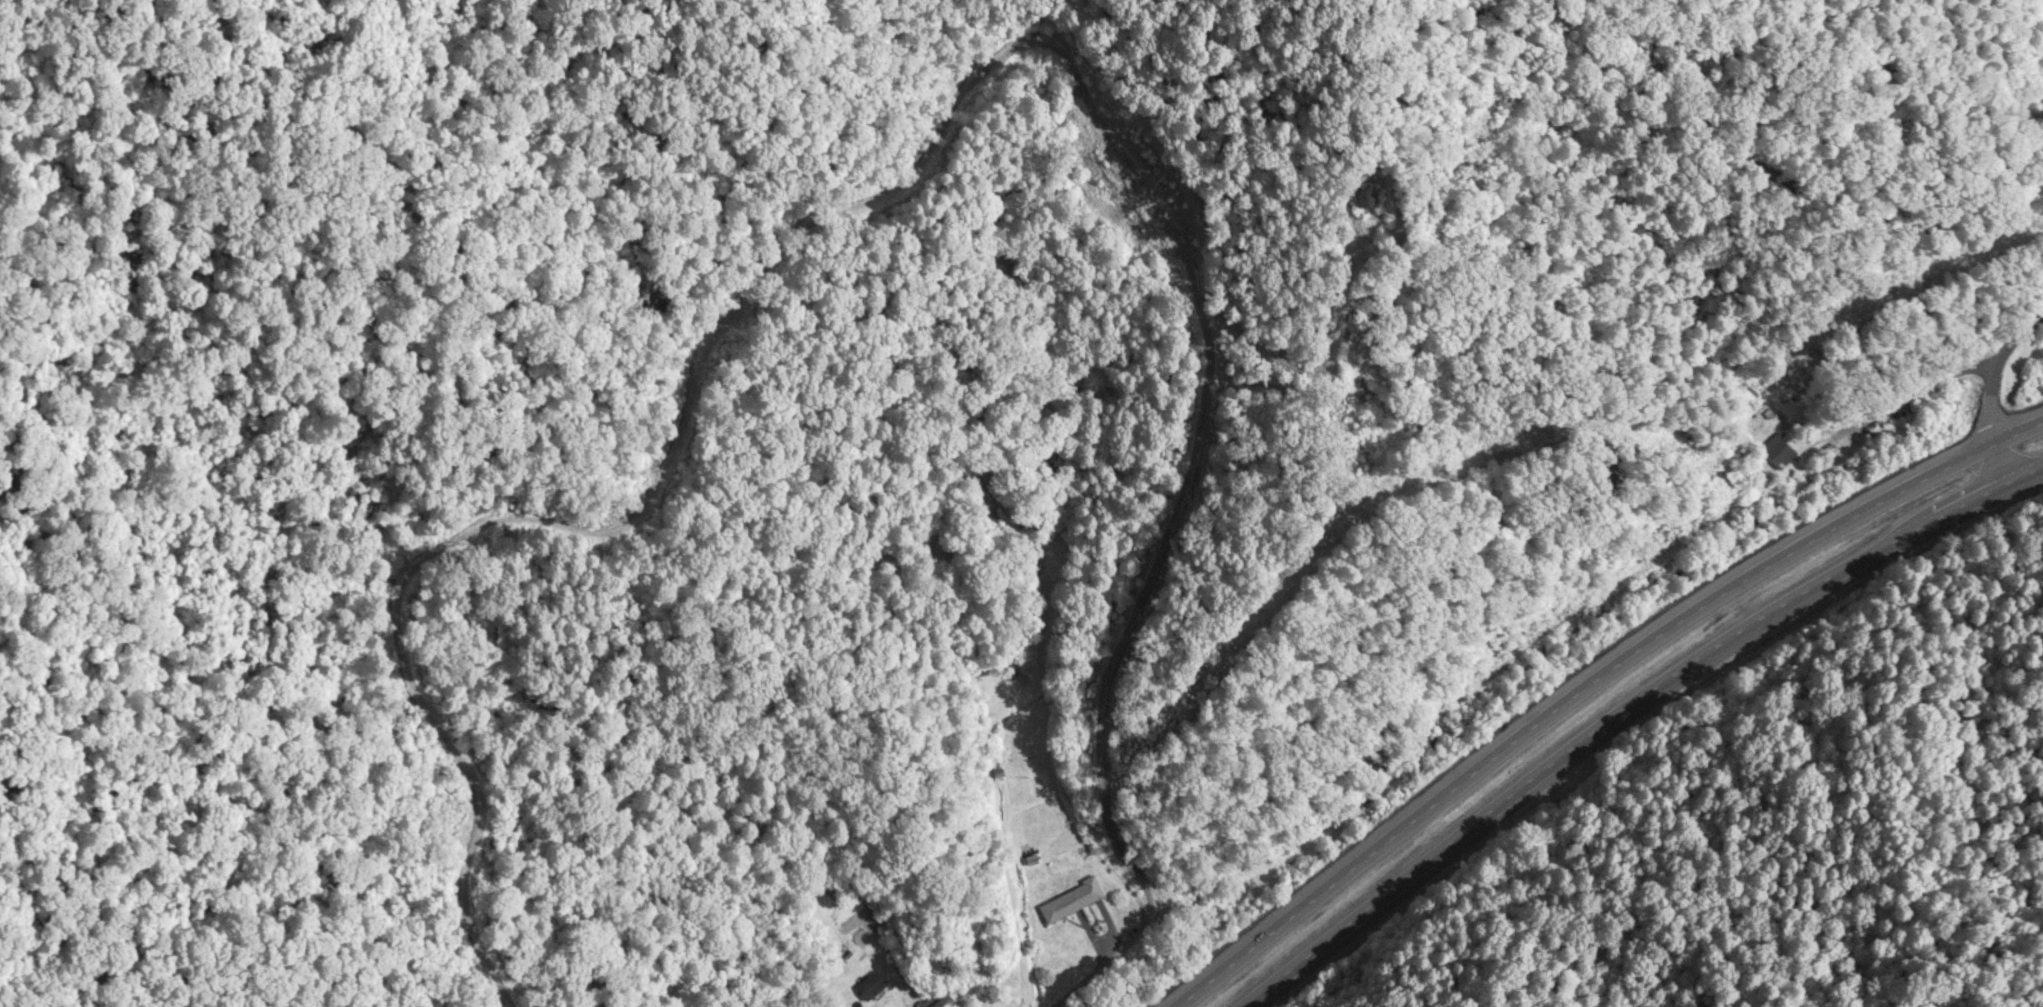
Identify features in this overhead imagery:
road: (1993, 389)
building: (1779, 454)
road: (1591, 685)
road: (1626, 710)
building: (1071, 902)
road: (1104, 955)
building: (935, 1001)

